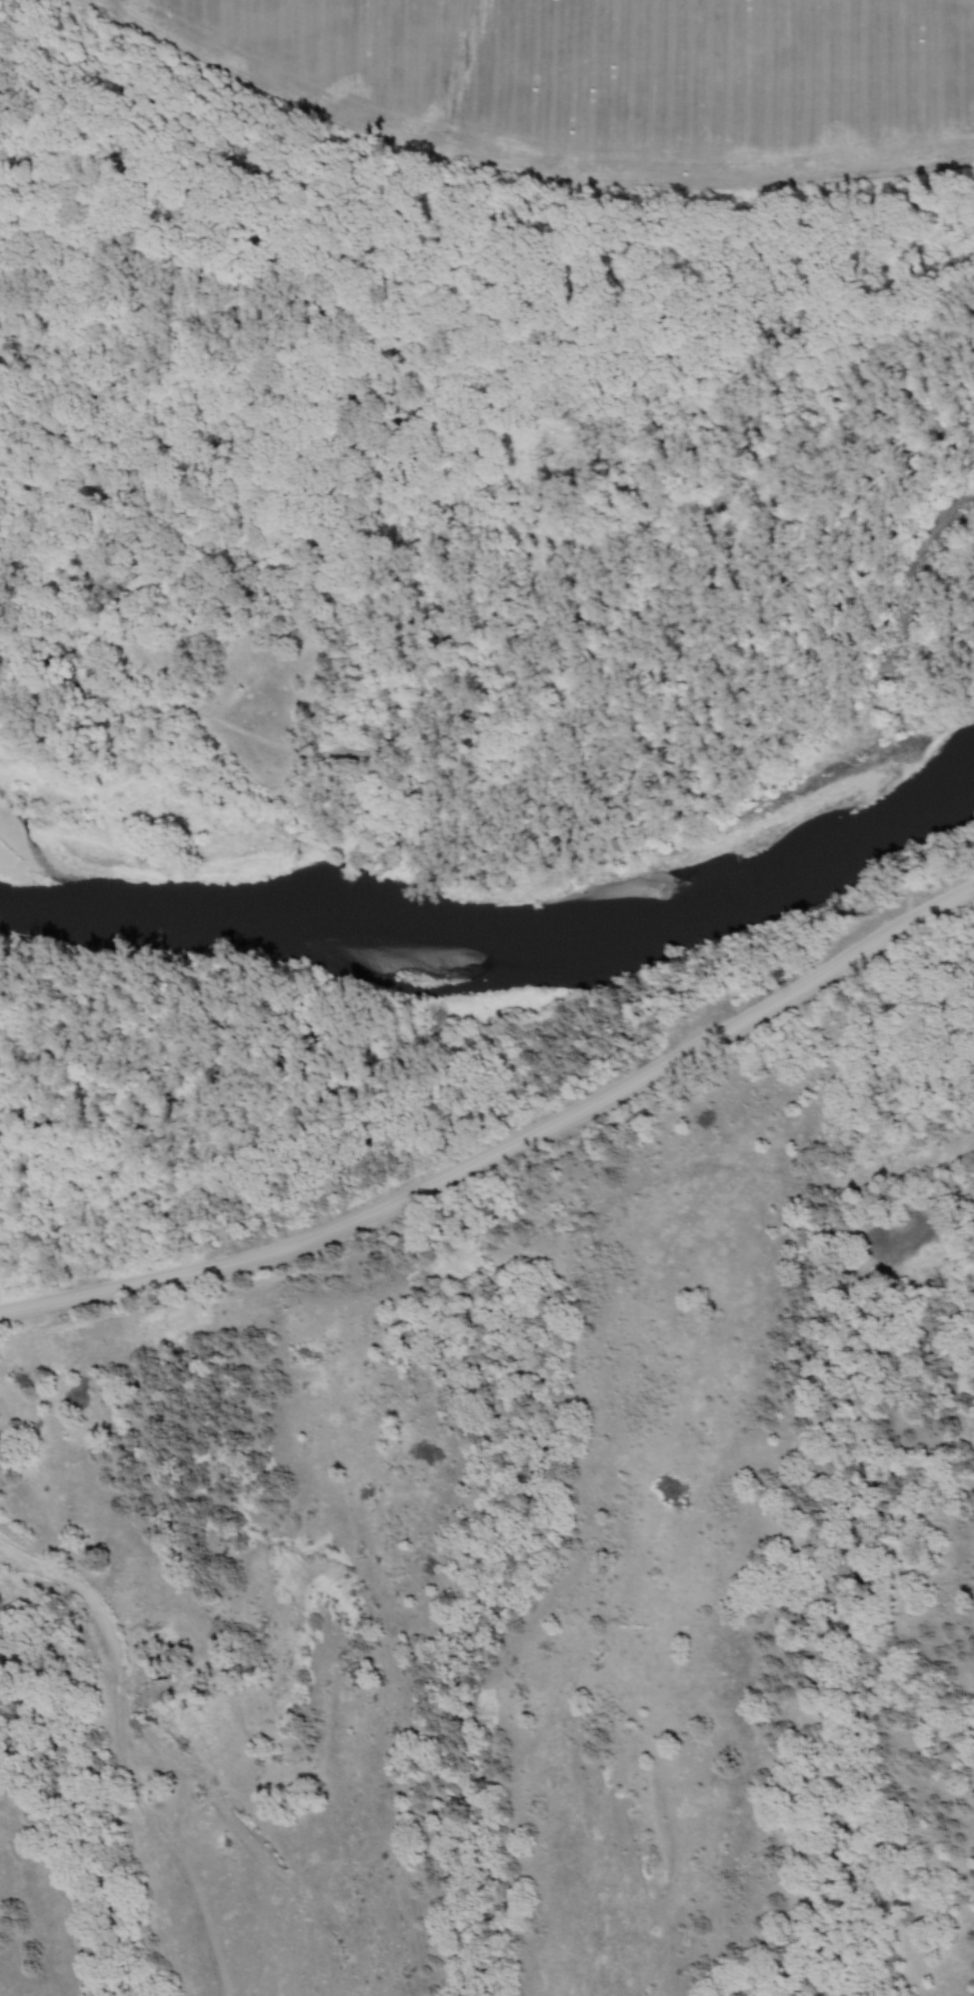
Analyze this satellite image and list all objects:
river: (502, 932)
road: (505, 1151)

